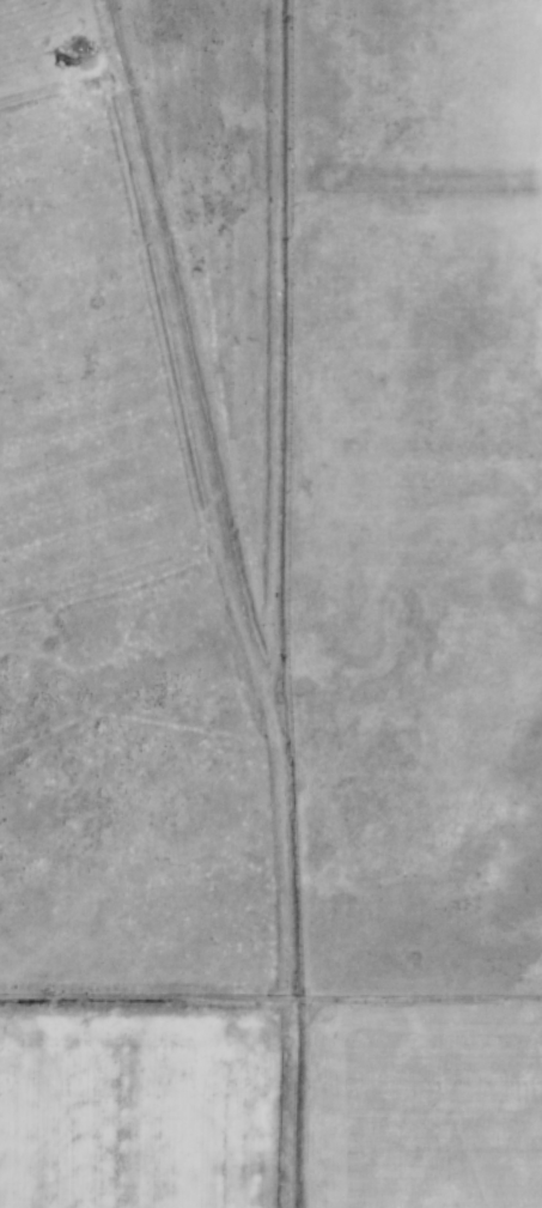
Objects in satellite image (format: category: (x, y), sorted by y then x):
crop: (505, 121)
crop: (164, 1106)

